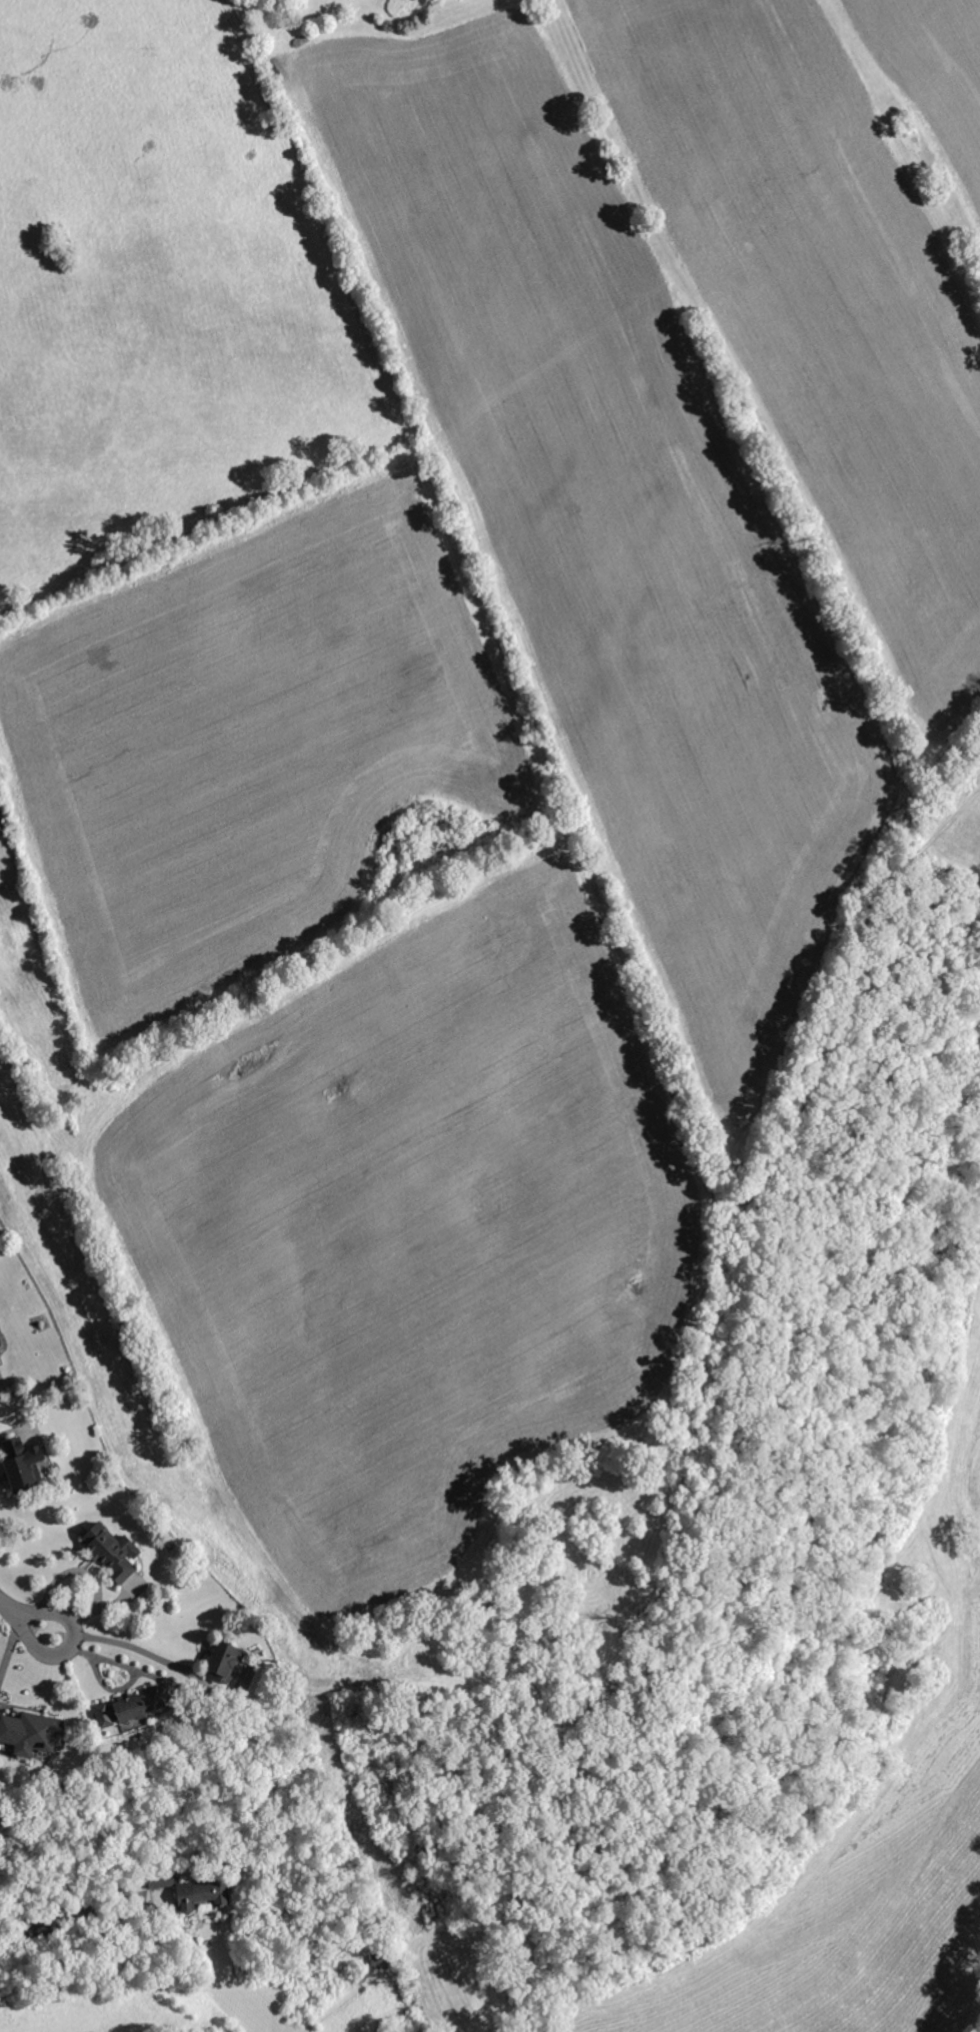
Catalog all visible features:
building: (0, 1344)
road: (11, 1430)
building: (21, 1468)
building: (114, 1552)
road: (92, 1573)
road: (28, 1611)
road: (12, 1640)
road: (119, 1643)
building: (224, 1661)
road: (129, 1666)
building: (129, 1708)
building: (32, 1733)
building: (193, 1888)
road: (51, 1915)
building: (82, 1922)
building: (380, 1961)

